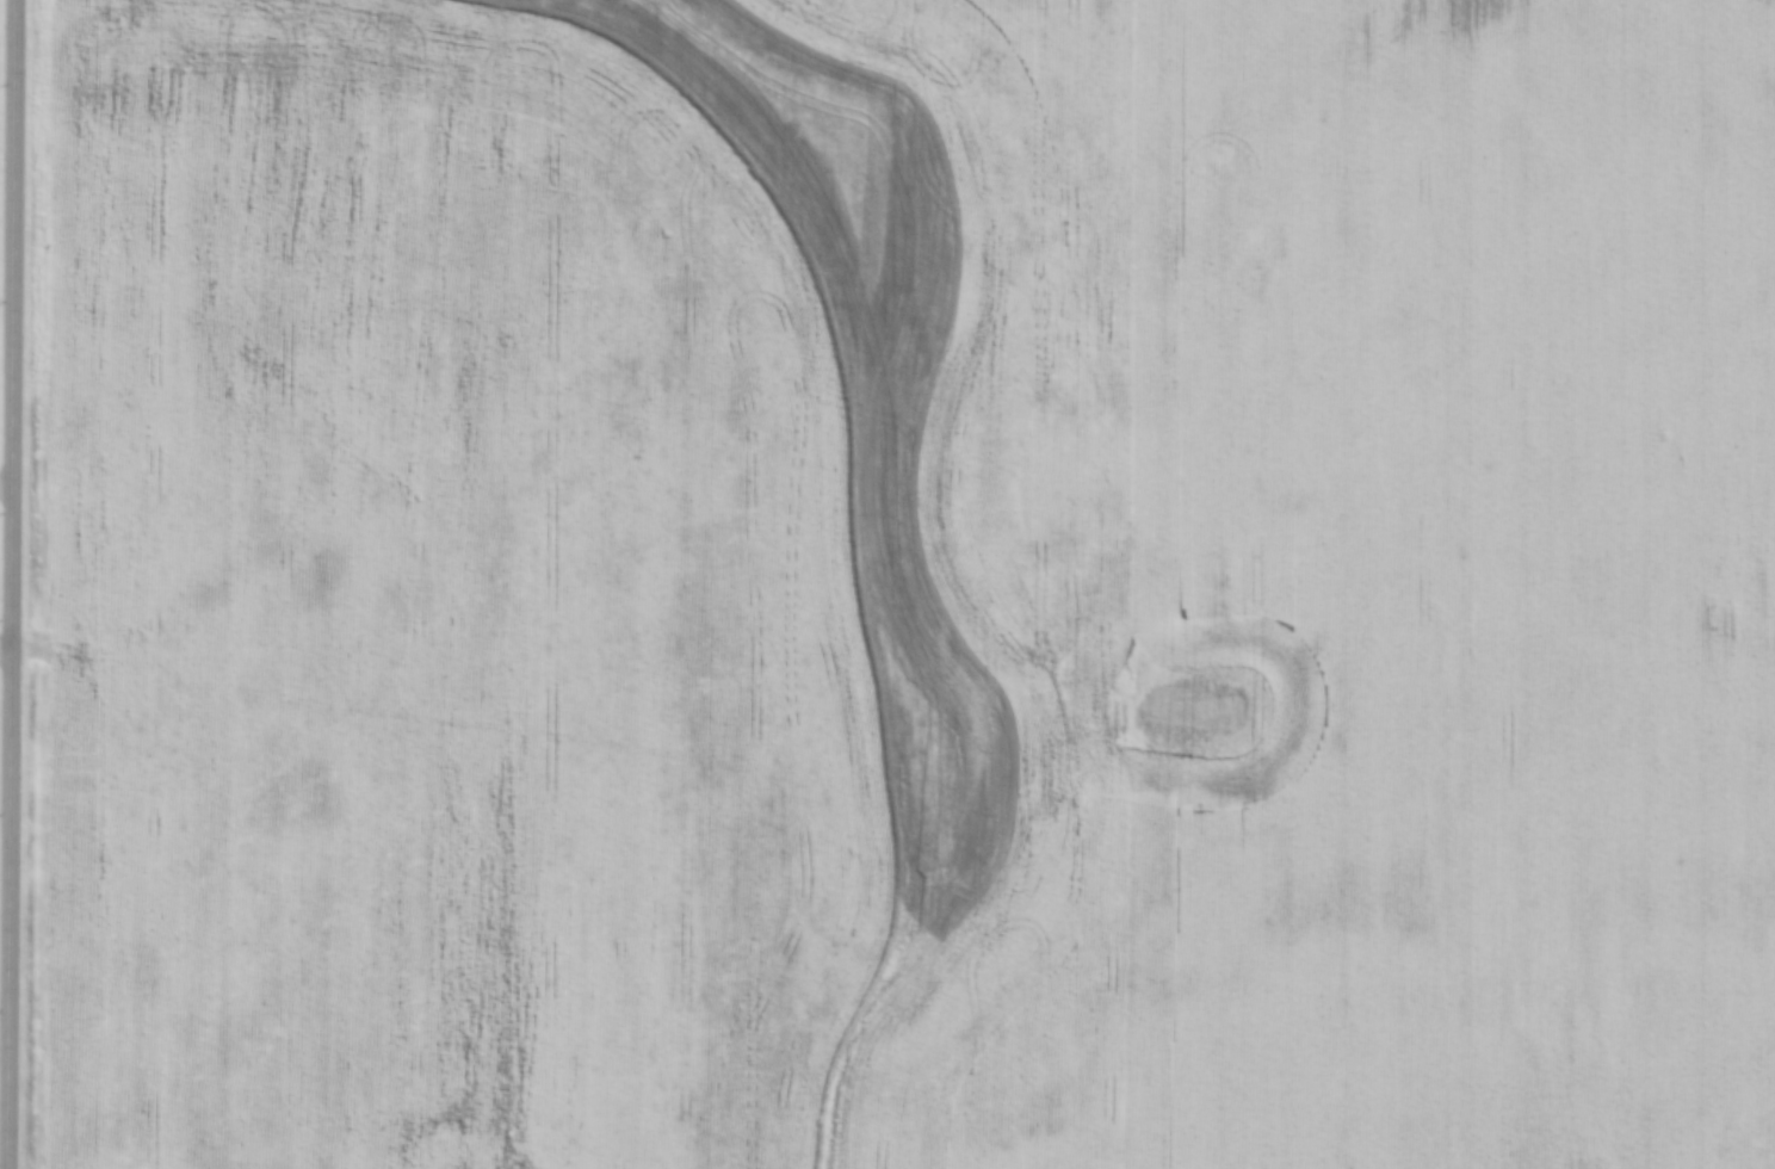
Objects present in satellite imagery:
road: (14, 583)
road: (7, 654)

